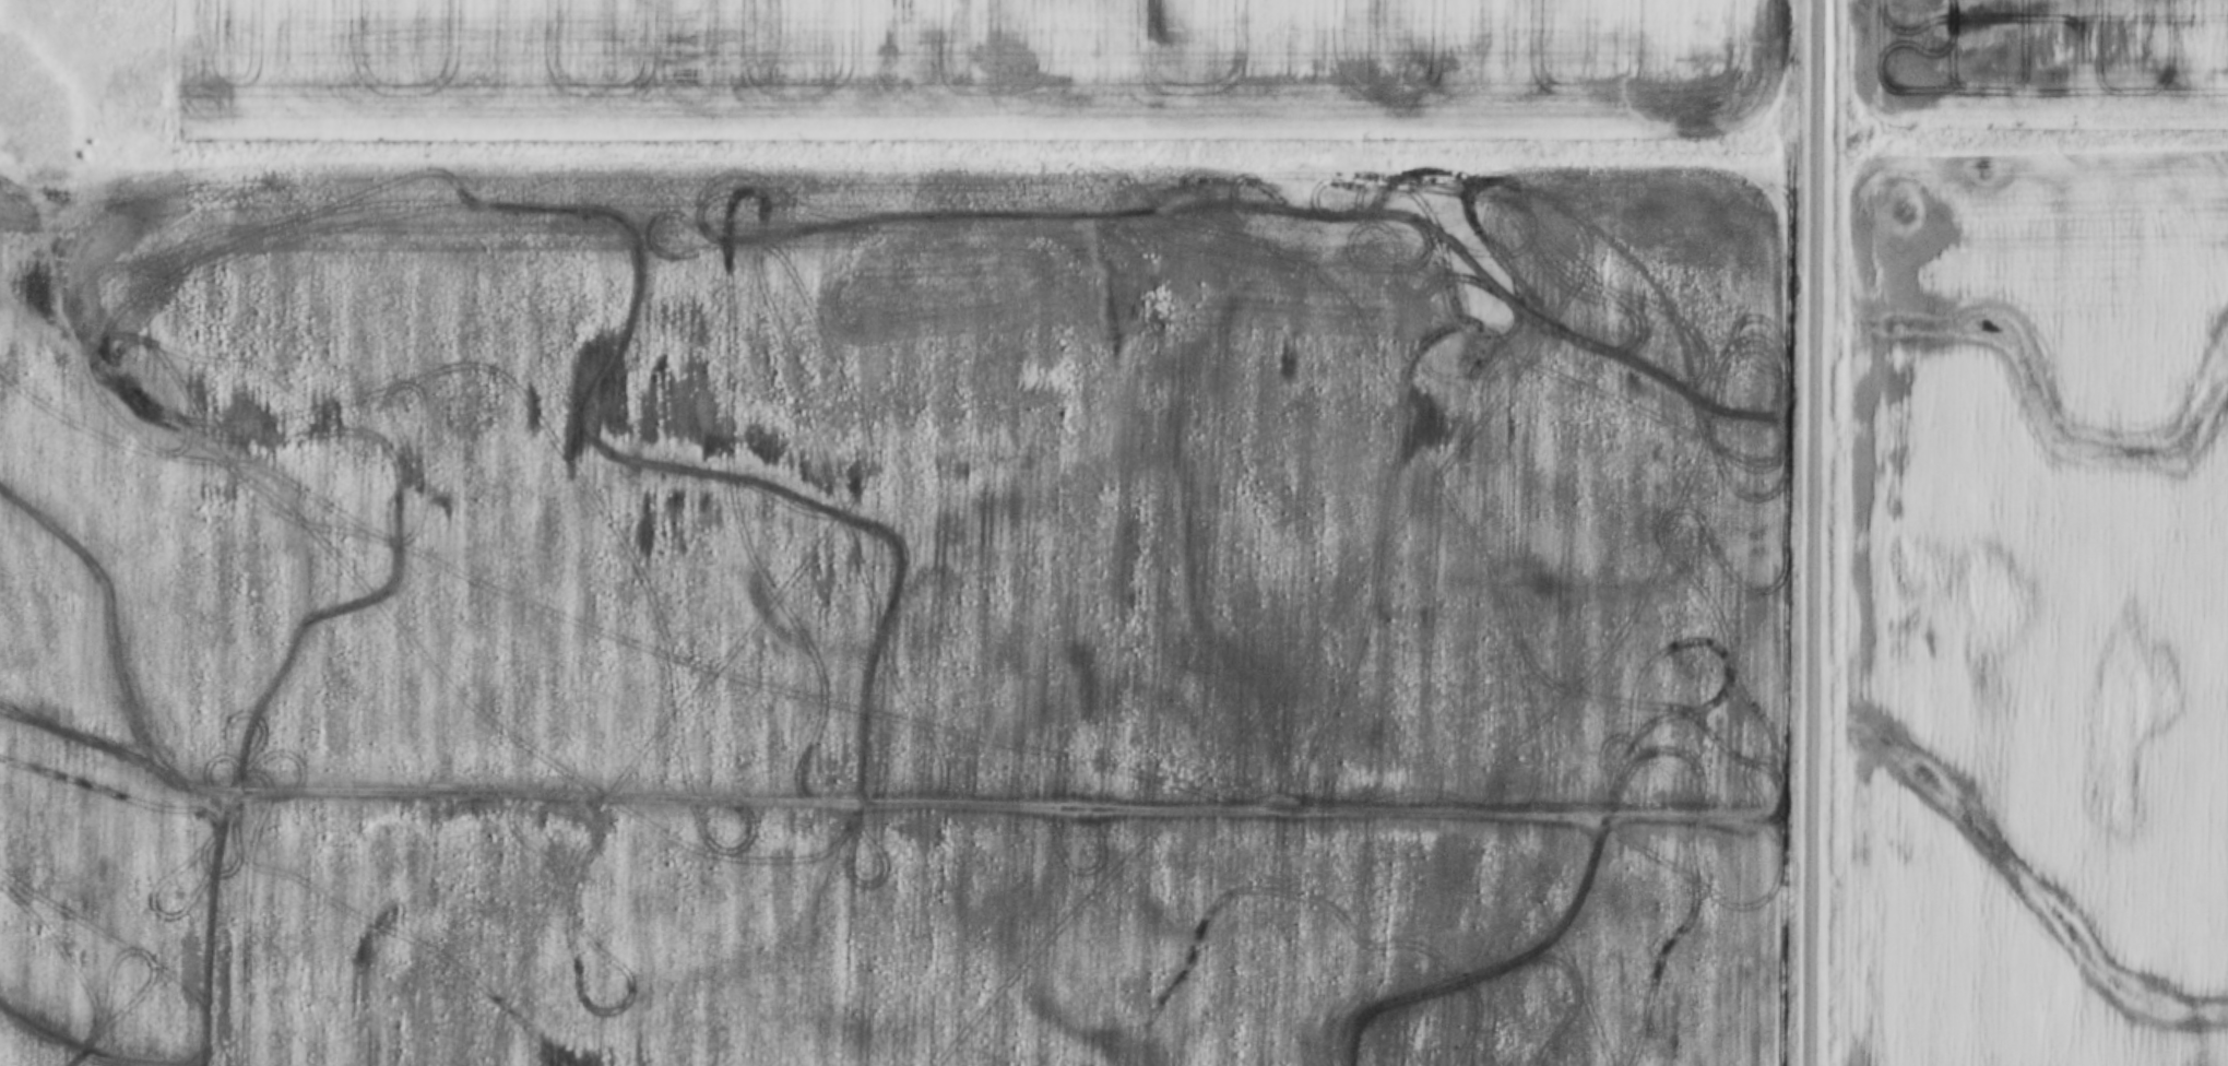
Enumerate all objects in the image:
road: (1818, 533)

